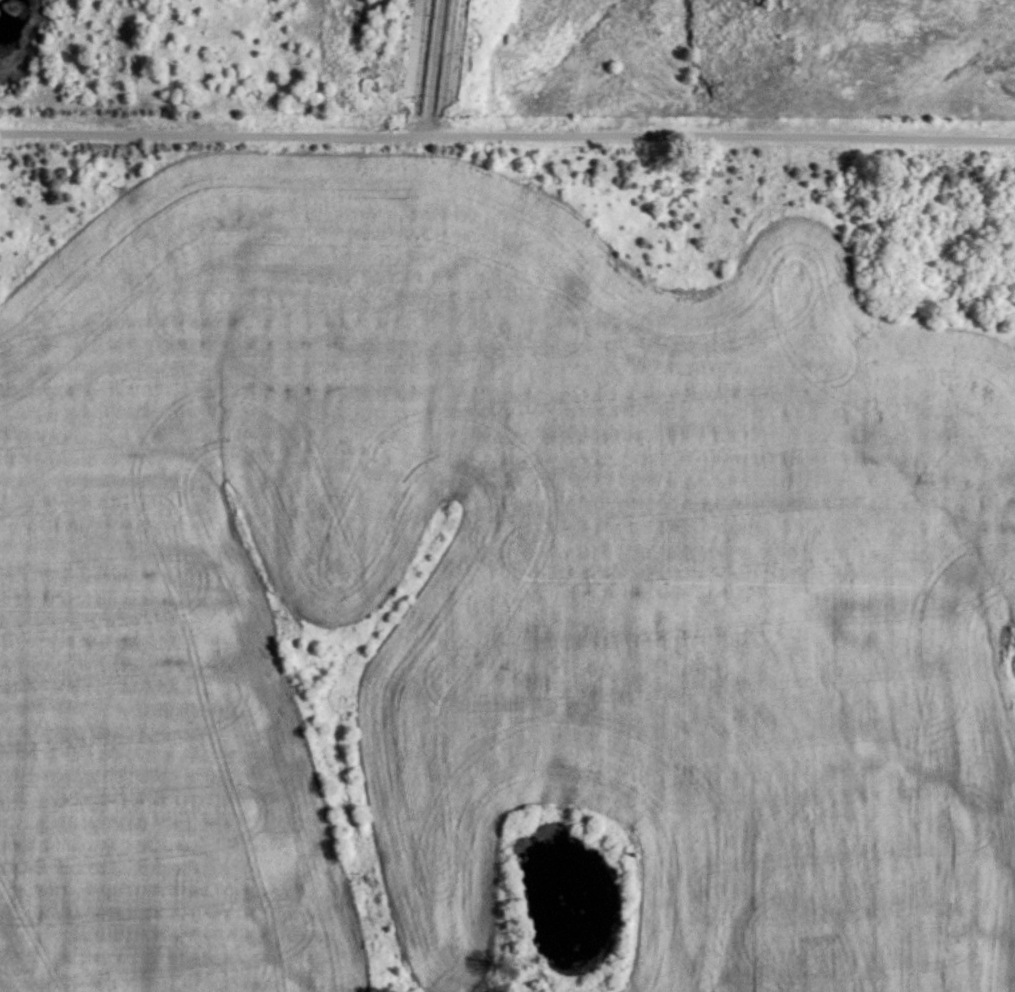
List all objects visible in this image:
road: (507, 141)

